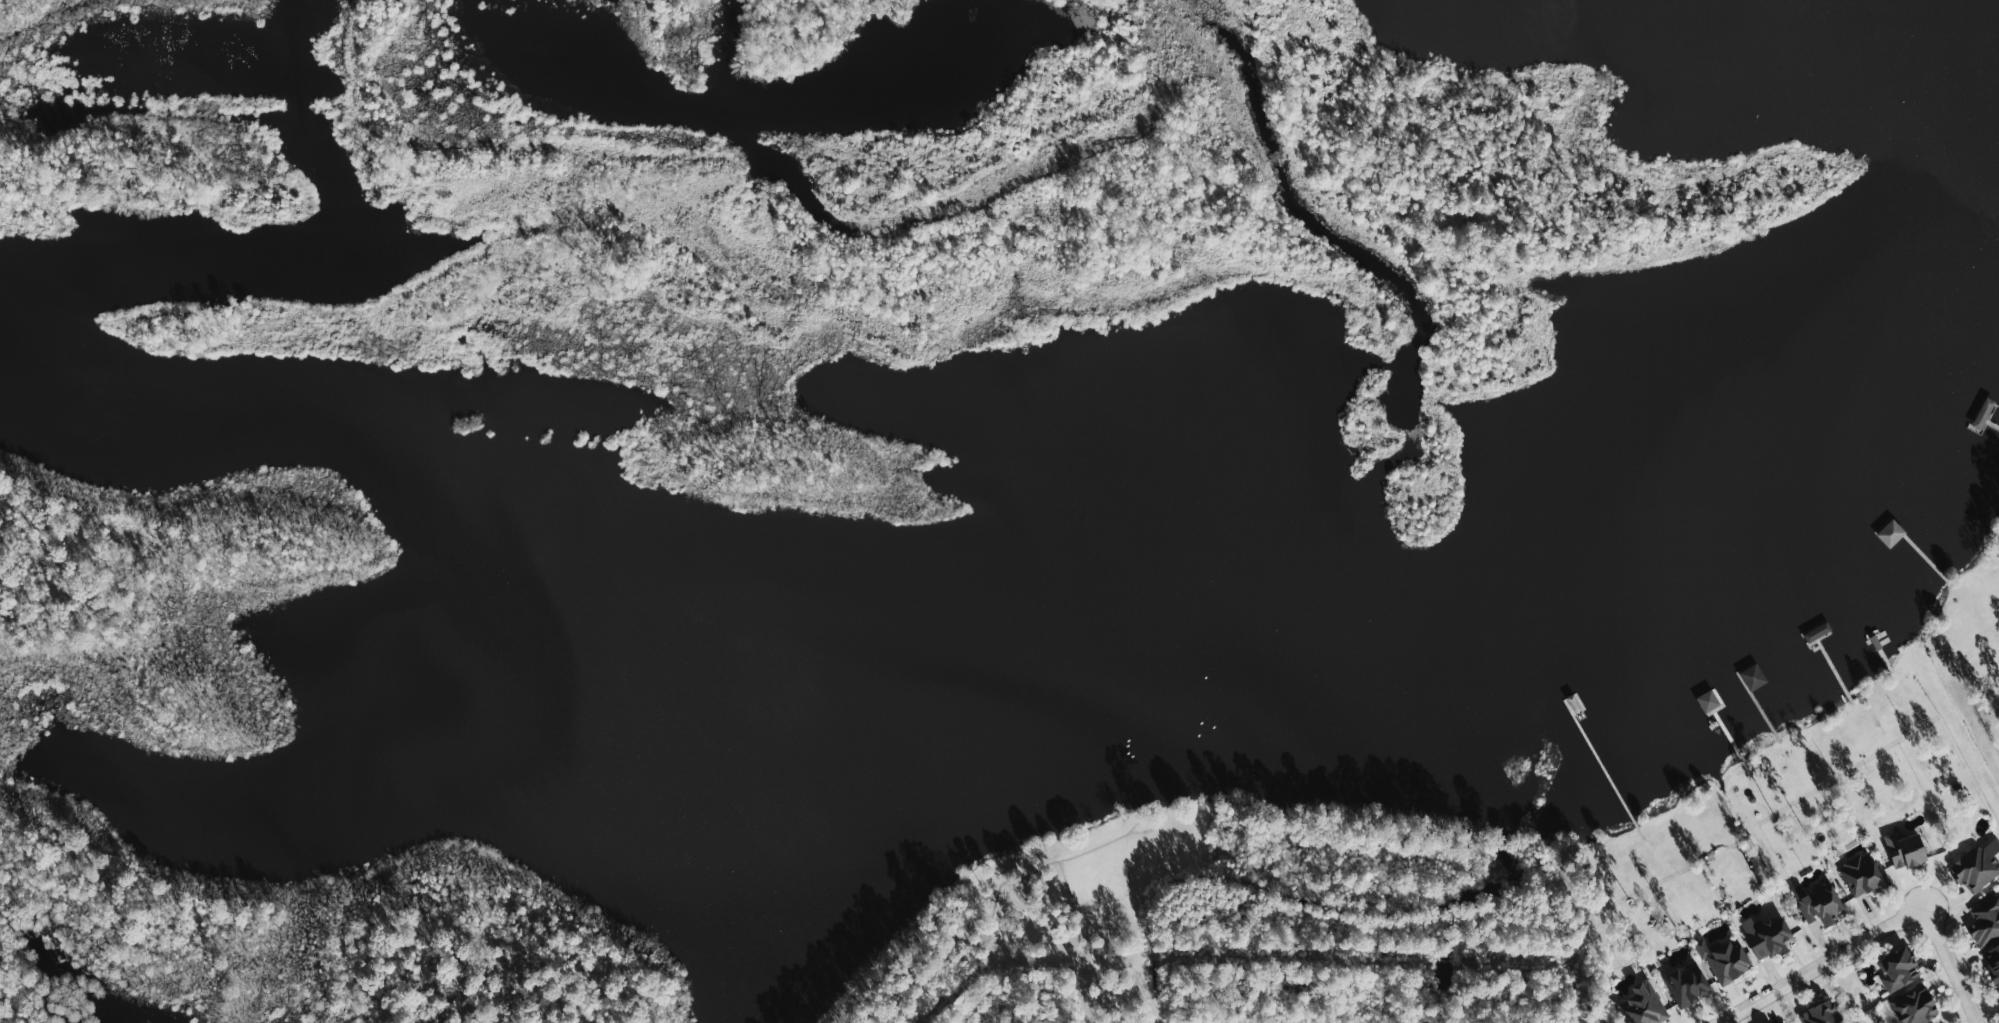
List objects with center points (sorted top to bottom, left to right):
building: (1892, 533)
building: (1819, 632)
building: (1906, 850)
building: (1976, 869)
building: (1865, 875)
road: (1009, 883)
building: (1822, 904)
park: (1094, 916)
building: (1986, 923)
building: (1769, 936)
road: (1879, 938)
road: (1087, 945)
building: (1993, 961)
building: (1730, 962)
building: (1901, 970)
building: (1687, 986)
building: (1646, 1004)
building: (1916, 1007)
building: (1786, 1022)

